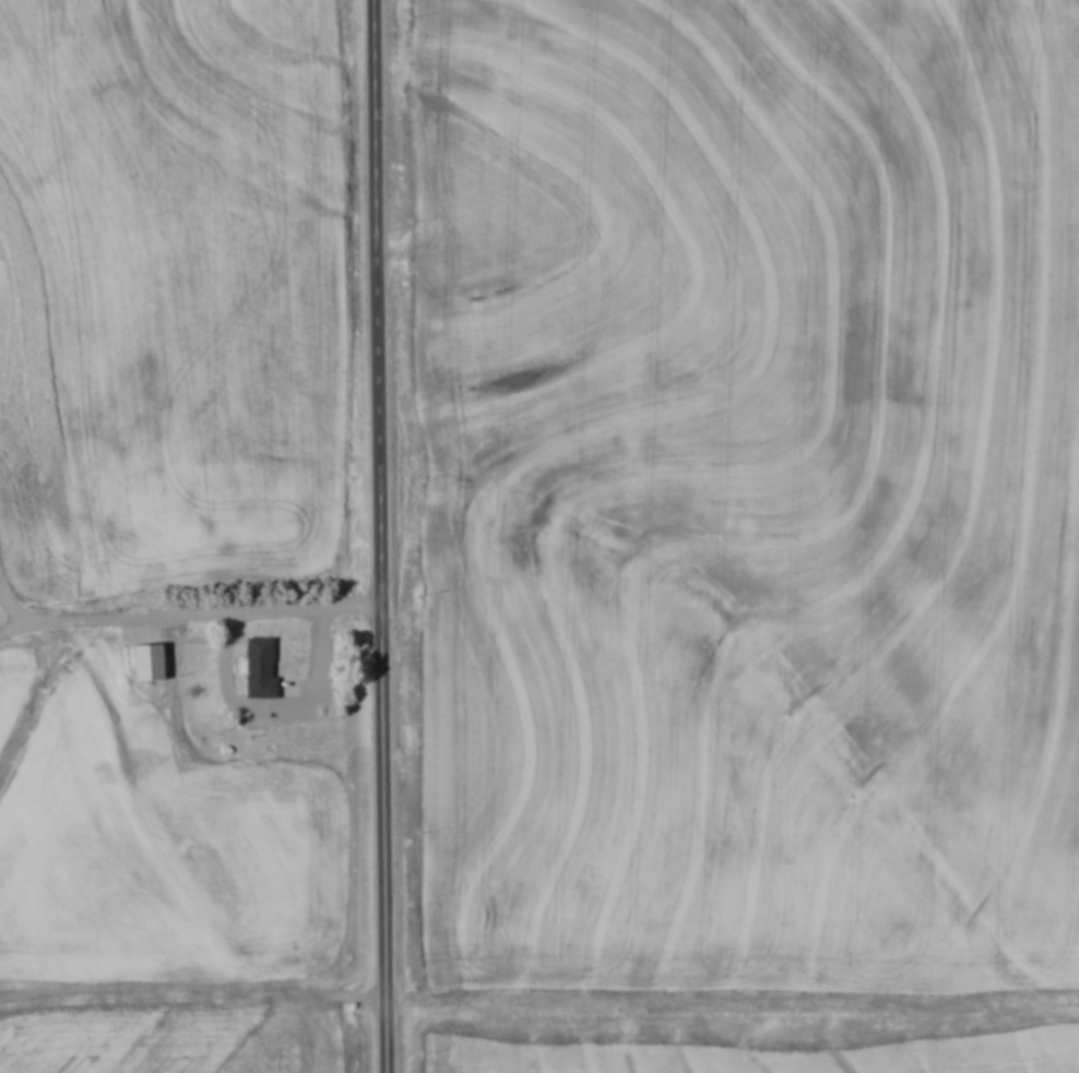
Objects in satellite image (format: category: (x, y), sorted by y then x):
road: (379, 536)
road: (9, 606)
road: (122, 617)
road: (10, 629)
building: (258, 668)
road: (225, 669)

